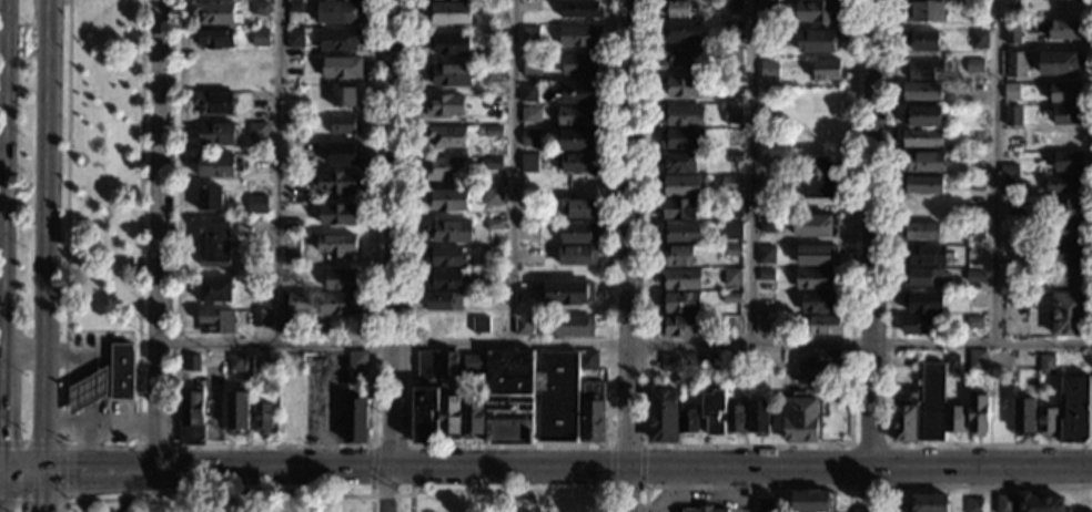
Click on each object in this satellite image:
building: (200, 0)
building: (343, 0)
building: (734, 6)
building: (295, 7)
building: (261, 8)
building: (769, 8)
building: (580, 9)
building: (680, 9)
building: (818, 11)
building: (924, 11)
building: (214, 13)
building: (340, 13)
building: (451, 13)
building: (1065, 30)
building: (735, 31)
building: (681, 32)
building: (1013, 32)
building: (532, 35)
building: (579, 35)
building: (260, 38)
building: (214, 39)
building: (295, 39)
building: (978, 39)
building: (341, 40)
building: (769, 40)
building: (922, 40)
building: (818, 41)
building: (449, 43)
road: (0, 50)
building: (495, 54)
building: (734, 57)
building: (681, 58)
building: (1060, 63)
building: (580, 64)
building: (1017, 64)
building: (533, 65)
building: (974, 65)
building: (342, 68)
building: (769, 69)
building: (923, 69)
building: (828, 70)
building: (494, 73)
building: (449, 74)
building: (735, 84)
building: (685, 86)
building: (921, 91)
building: (1011, 91)
building: (1066, 92)
building: (528, 93)
building: (579, 93)
building: (297, 94)
building: (344, 96)
building: (260, 100)
building: (214, 103)
building: (445, 105)
building: (532, 115)
building: (578, 115)
building: (683, 115)
building: (732, 115)
building: (1012, 115)
building: (1068, 115)
building: (921, 116)
building: (296, 121)
building: (342, 124)
building: (481, 130)
building: (259, 131)
building: (494, 131)
building: (216, 134)
building: (446, 137)
building: (734, 137)
building: (1011, 137)
building: (1068, 137)
building: (530, 139)
building: (924, 139)
building: (681, 140)
building: (579, 141)
building: (343, 154)
building: (734, 156)
building: (530, 162)
building: (923, 162)
building: (1068, 162)
building: (260, 163)
building: (492, 163)
building: (578, 163)
building: (678, 163)
building: (218, 165)
park: (102, 167)
building: (445, 168)
building: (1010, 170)
road: (751, 171)
road: (997, 171)
road: (280, 172)
road: (513, 172)
building: (818, 176)
building: (1011, 182)
building: (292, 183)
building: (335, 183)
building: (729, 184)
building: (1066, 185)
building: (678, 186)
building: (922, 186)
building: (493, 196)
building: (210, 198)
building: (448, 199)
building: (766, 203)
building: (256, 204)
building: (734, 208)
building: (583, 209)
building: (678, 209)
building: (1068, 209)
building: (338, 215)
building: (767, 224)
building: (494, 225)
building: (816, 226)
building: (449, 231)
building: (731, 231)
building: (975, 231)
building: (680, 232)
building: (920, 232)
building: (1010, 232)
building: (1068, 232)
building: (577, 233)
road: (395, 235)
road: (873, 235)
road: (47, 236)
road: (159, 236)
building: (215, 245)
building: (336, 245)
building: (734, 250)
building: (766, 254)
building: (493, 255)
building: (577, 255)
building: (816, 255)
building: (923, 255)
building: (975, 255)
building: (1068, 255)
building: (445, 256)
road: (630, 256)
building: (677, 256)
building: (547, 263)
building: (257, 269)
building: (766, 275)
building: (732, 277)
building: (923, 277)
building: (974, 277)
building: (1069, 277)
building: (680, 278)
building: (815, 278)
building: (444, 279)
building: (342, 280)
building: (255, 287)
building: (215, 290)
building: (568, 294)
building: (731, 297)
building: (300, 301)
building: (444, 301)
building: (679, 301)
building: (922, 301)
building: (818, 303)
building: (340, 305)
building: (1069, 314)
building: (259, 317)
building: (218, 321)
building: (973, 322)
road: (889, 324)
building: (479, 325)
building: (734, 325)
building: (760, 325)
building: (825, 325)
building: (917, 325)
building: (524, 326)
building: (574, 326)
building: (286, 327)
building: (679, 327)
road: (624, 341)
building: (830, 359)
building: (356, 360)
building: (588, 360)
building: (977, 360)
building: (1074, 360)
building: (235, 362)
building: (260, 362)
building: (474, 362)
building: (669, 362)
building: (717, 362)
building: (191, 363)
building: (424, 365)
building: (447, 365)
building: (952, 365)
building: (1045, 365)
road: (85, 370)
building: (121, 371)
building: (585, 377)
building: (87, 390)
gas station: (87, 390)
building: (530, 396)
building: (920, 408)
building: (1074, 409)
building: (714, 411)
building: (978, 411)
building: (237, 412)
building: (593, 412)
building: (473, 414)
building: (1024, 414)
building: (425, 416)
building: (663, 416)
road: (327, 417)
building: (449, 417)
building: (758, 417)
building: (191, 418)
building: (262, 418)
building: (735, 418)
building: (688, 419)
building: (953, 419)
building: (355, 420)
building: (800, 420)
building: (1046, 422)
road: (101, 423)
building: (118, 443)
road: (626, 444)
road: (888, 444)
road: (509, 446)
road: (746, 446)
road: (101, 447)
road: (155, 447)
road: (273, 447)
road: (411, 450)
road: (644, 465)
road: (609, 468)
road: (981, 469)
road: (370, 470)
road: (457, 471)
road: (60, 472)
road: (10, 473)
road: (32, 473)
traffic signals: (43, 473)
road: (1091, 477)
road: (990, 485)
road: (747, 488)
road: (627, 489)
road: (869, 490)
road: (990, 490)
road: (747, 491)
road: (43, 492)
road: (391, 492)
road: (331, 494)
park: (328, 498)
road: (606, 501)
road: (410, 502)
building: (813, 502)
building: (928, 503)
building: (1004, 503)
building: (1041, 503)
road: (121, 504)
building: (764, 504)
building: (973, 505)
building: (704, 509)

